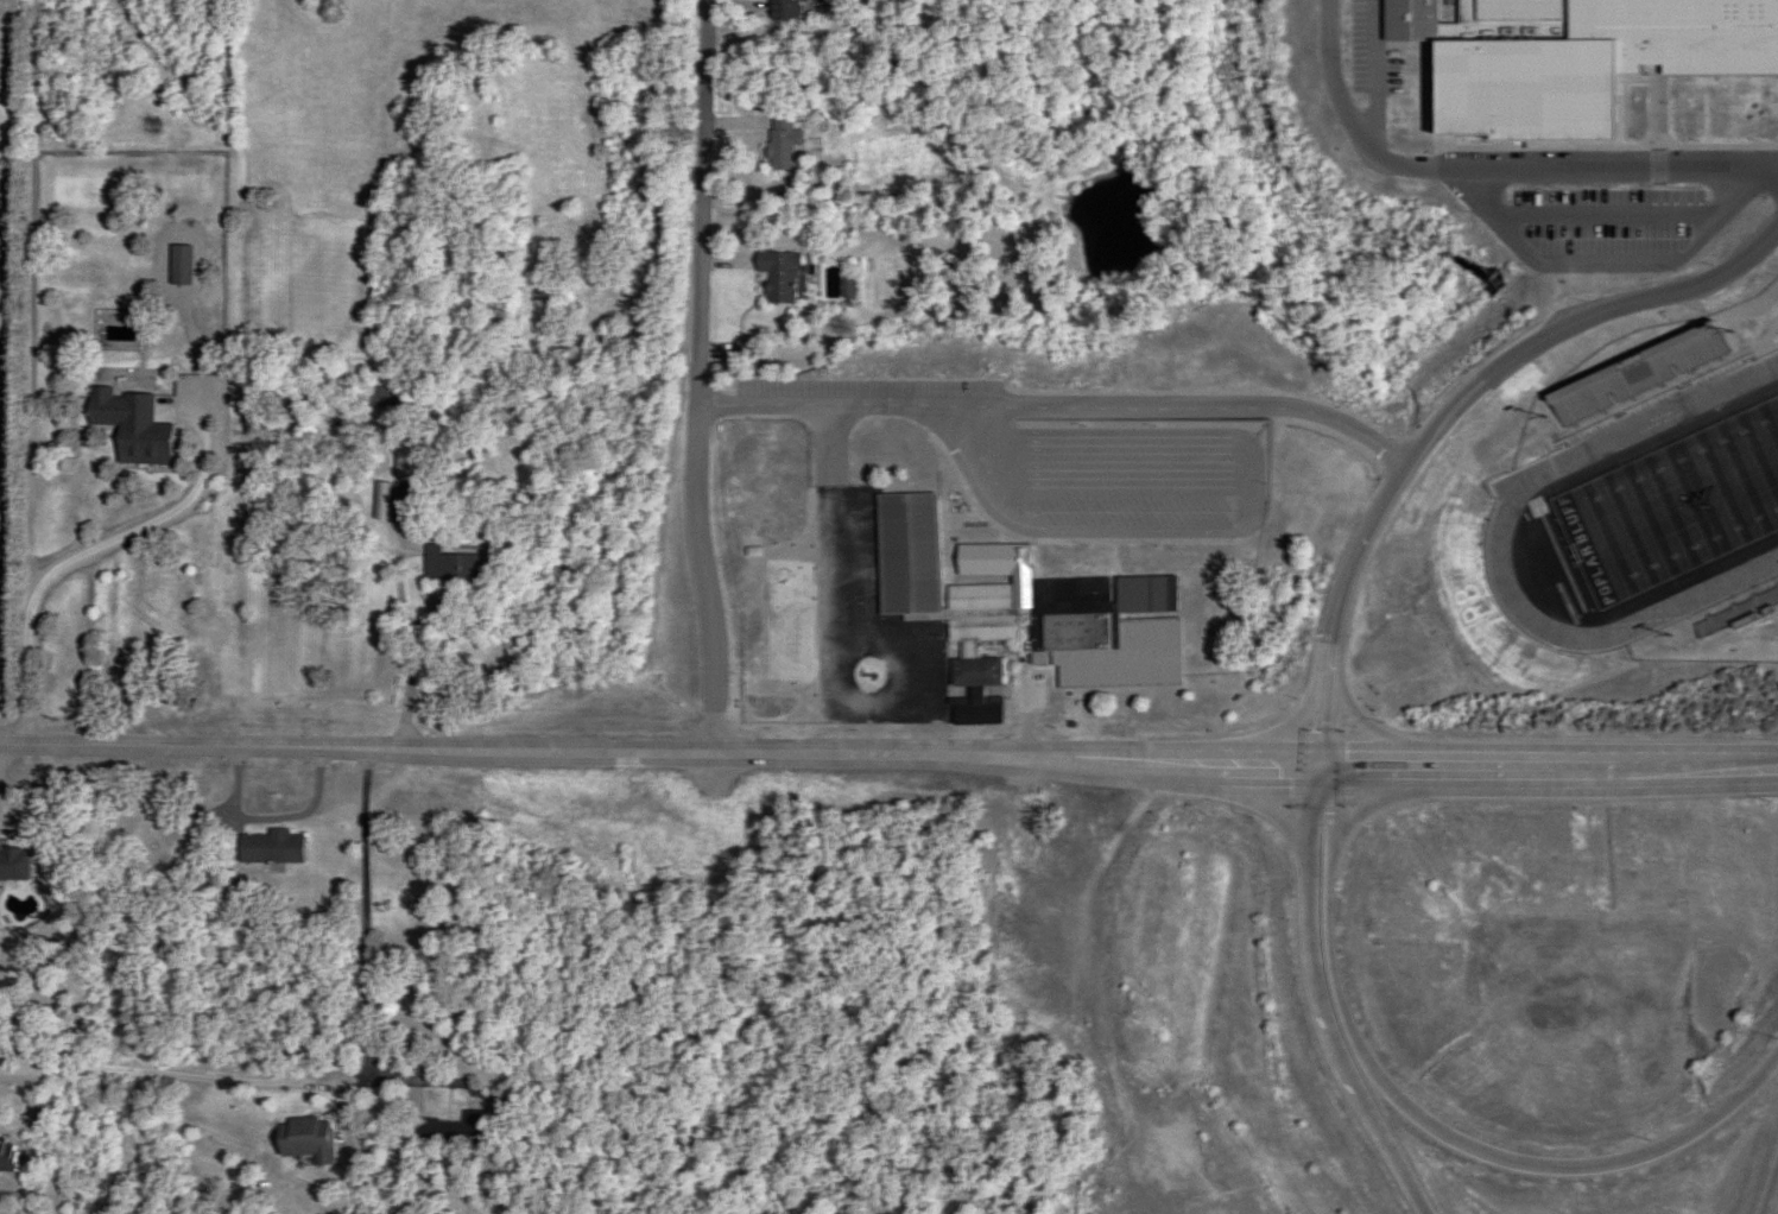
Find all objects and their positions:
building: (783, 8)
building: (1539, 10)
building: (780, 140)
road: (1501, 146)
building: (778, 276)
road: (698, 379)
road: (1062, 409)
road: (1455, 415)
building: (129, 425)
building: (406, 457)
building: (401, 501)
park: (1675, 505)
road: (103, 548)
building: (906, 554)
building: (983, 559)
building: (449, 565)
building: (980, 615)
building: (1115, 631)
road: (420, 641)
building: (973, 672)
building: (975, 712)
road: (888, 758)
building: (268, 847)
building: (220, 897)
building: (1375, 947)
road: (1318, 999)
road: (350, 1085)
road: (1425, 1120)
building: (449, 1131)
building: (304, 1140)
building: (6, 1156)
road: (1772, 1200)

